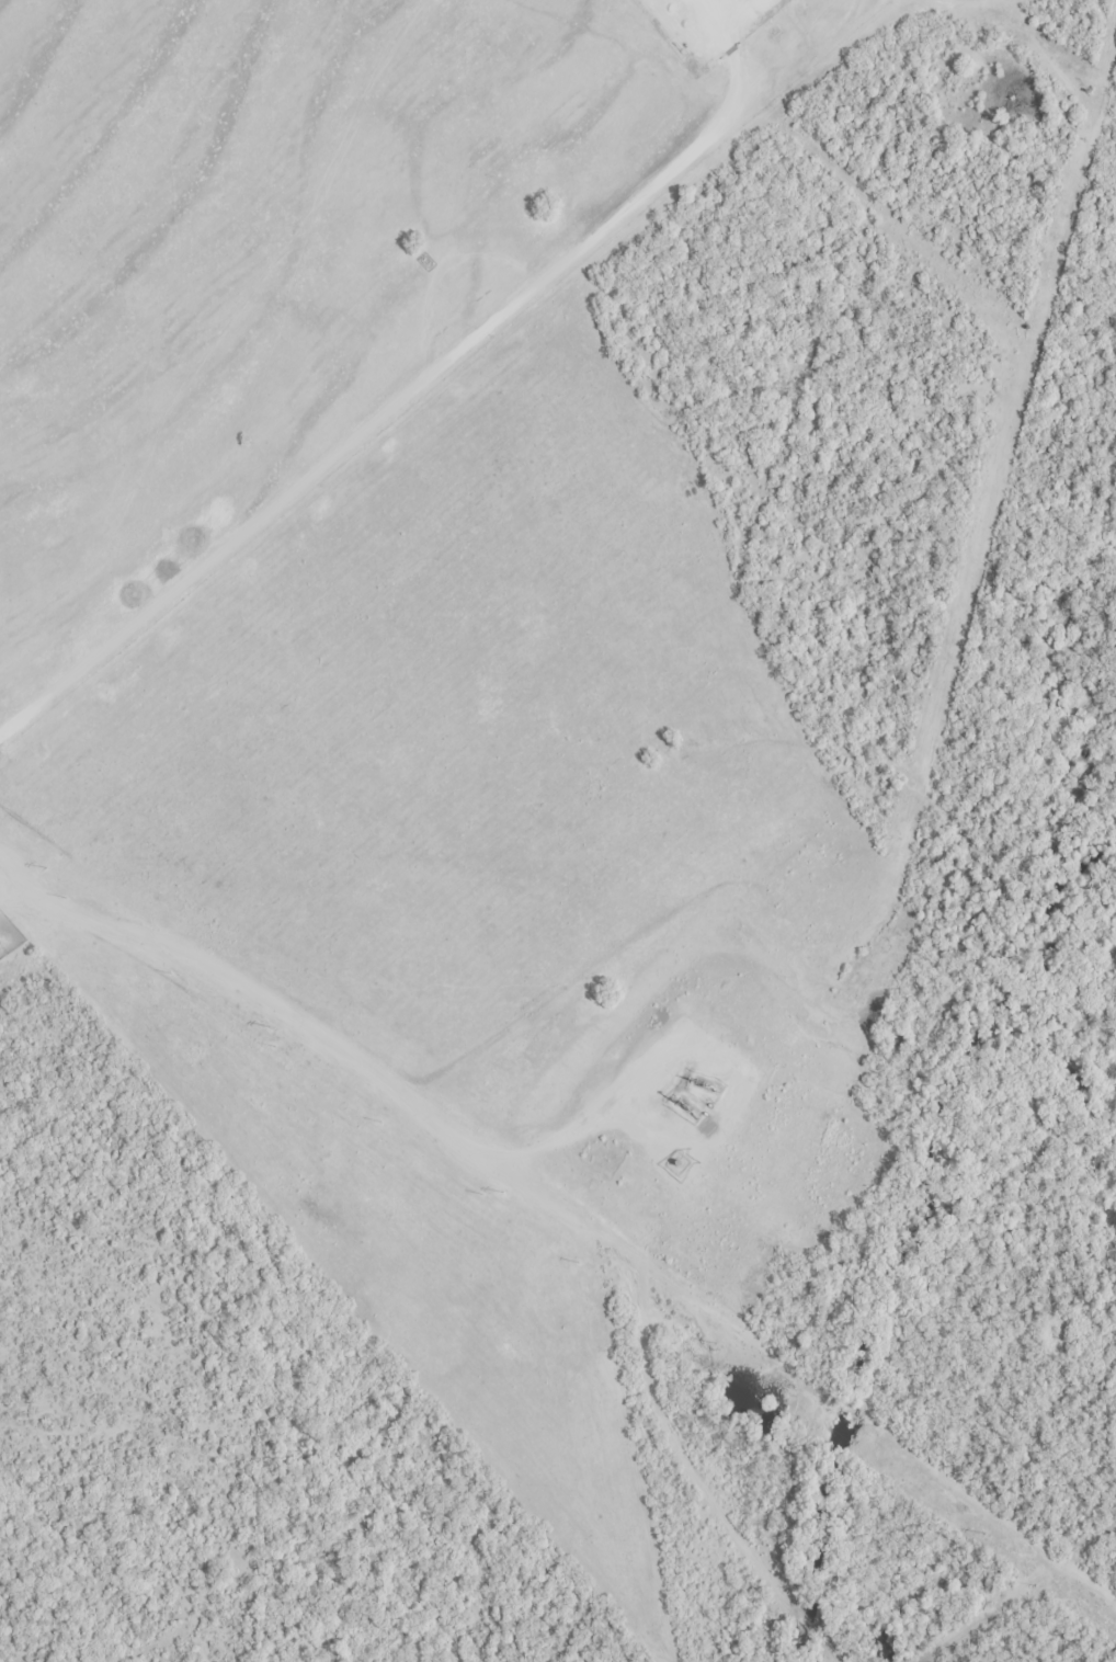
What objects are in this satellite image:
road: (424, 376)
power tower: (46, 868)
power tower: (271, 1027)
road: (366, 1056)
power tower: (502, 1192)
power tower: (715, 1343)
power tower: (983, 1534)

